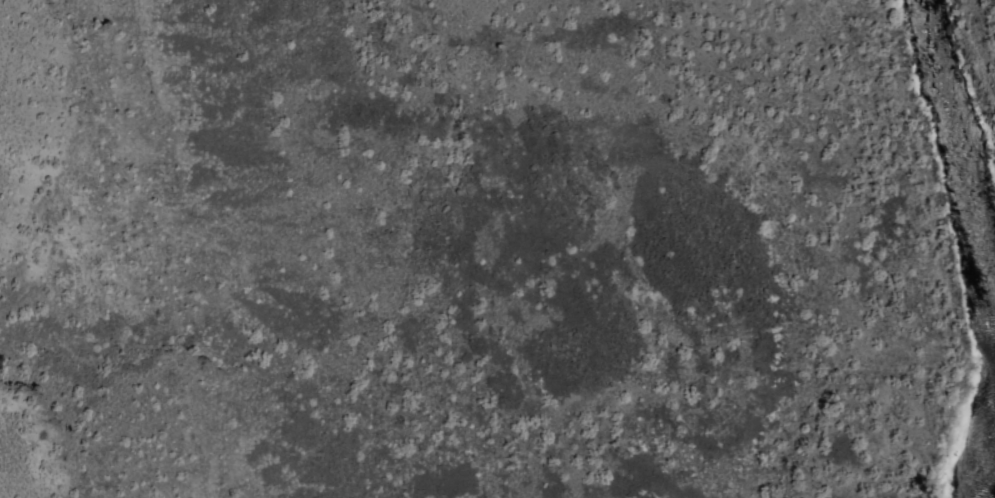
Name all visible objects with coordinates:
river: (959, 140)
river: (987, 453)

